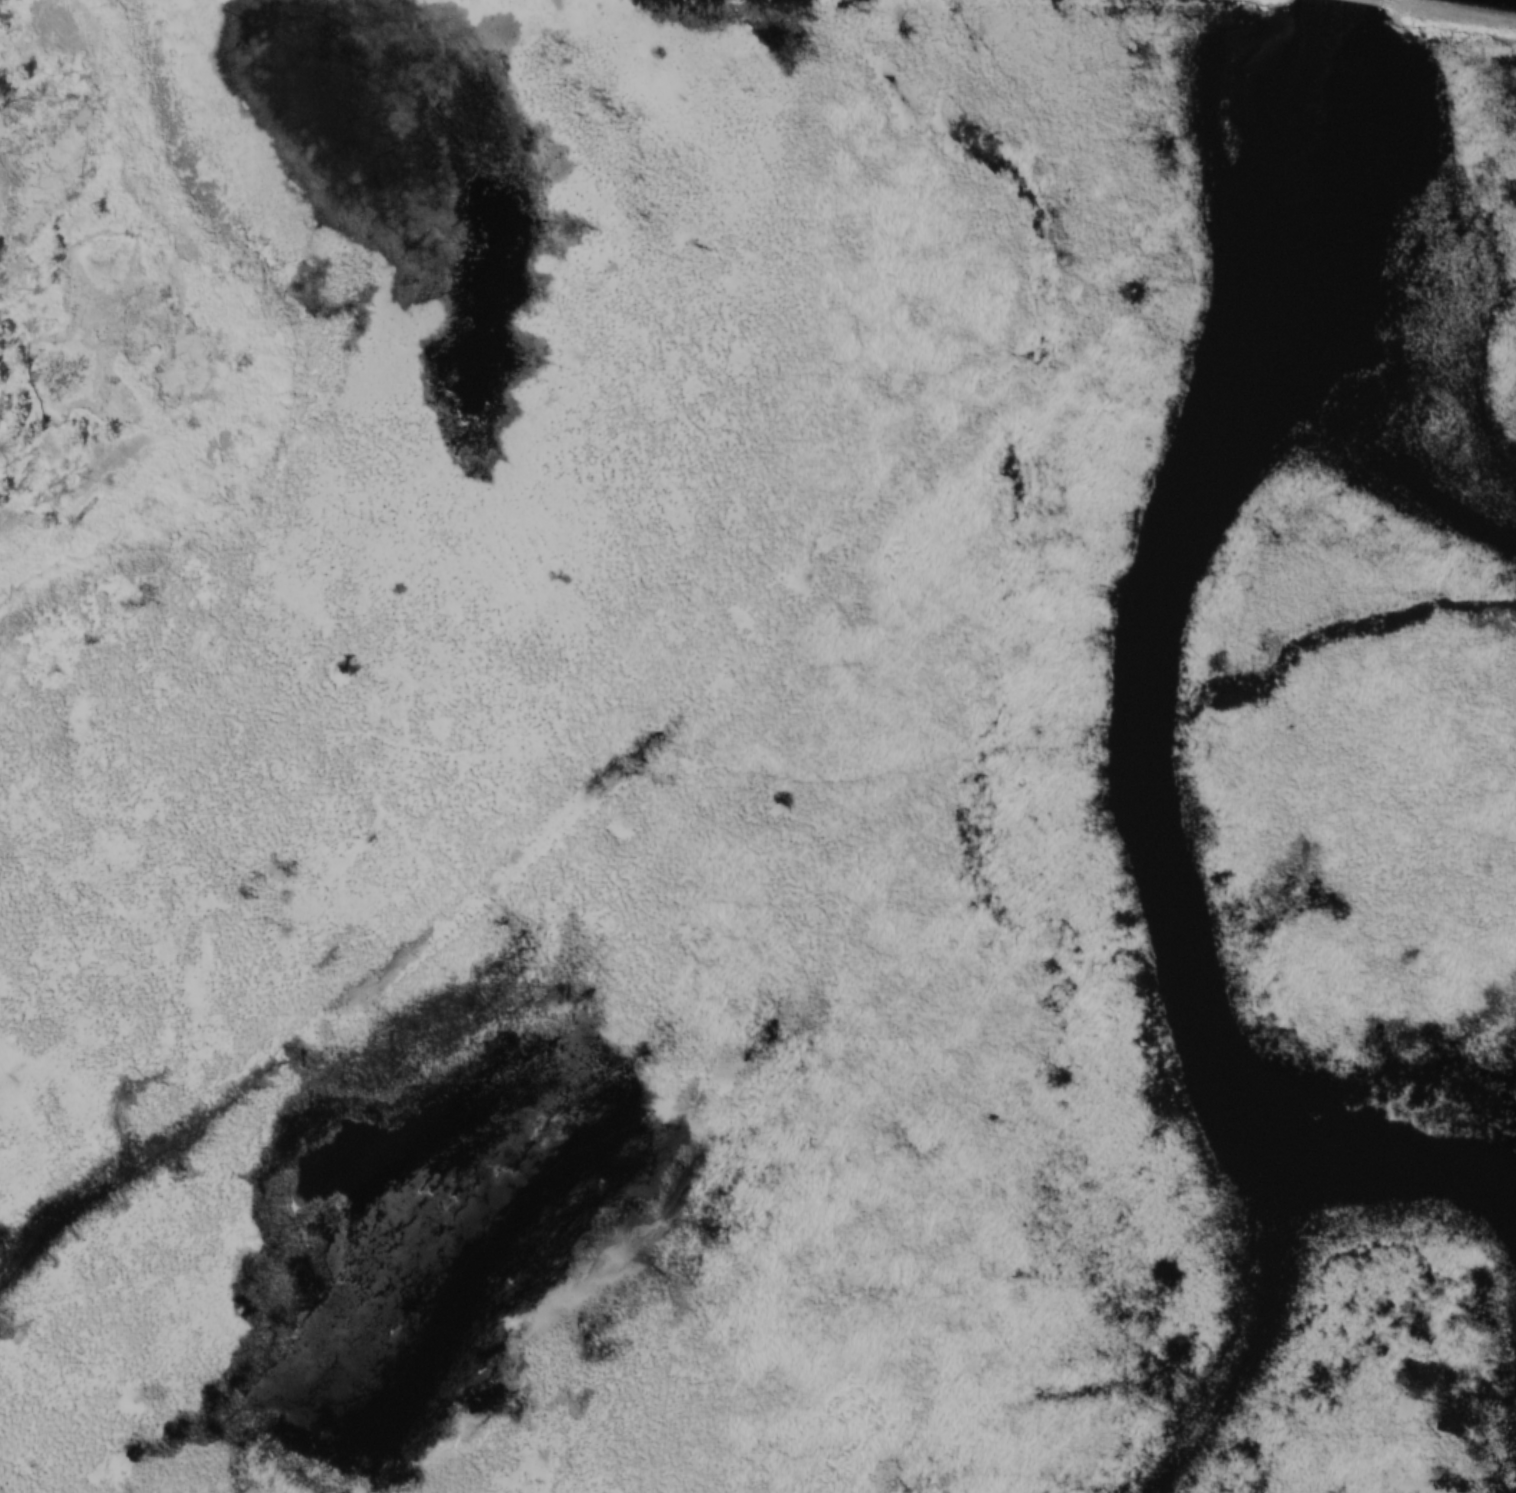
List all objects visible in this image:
dam: (1487, 4)
road: (1447, 12)
river: (1369, 258)

